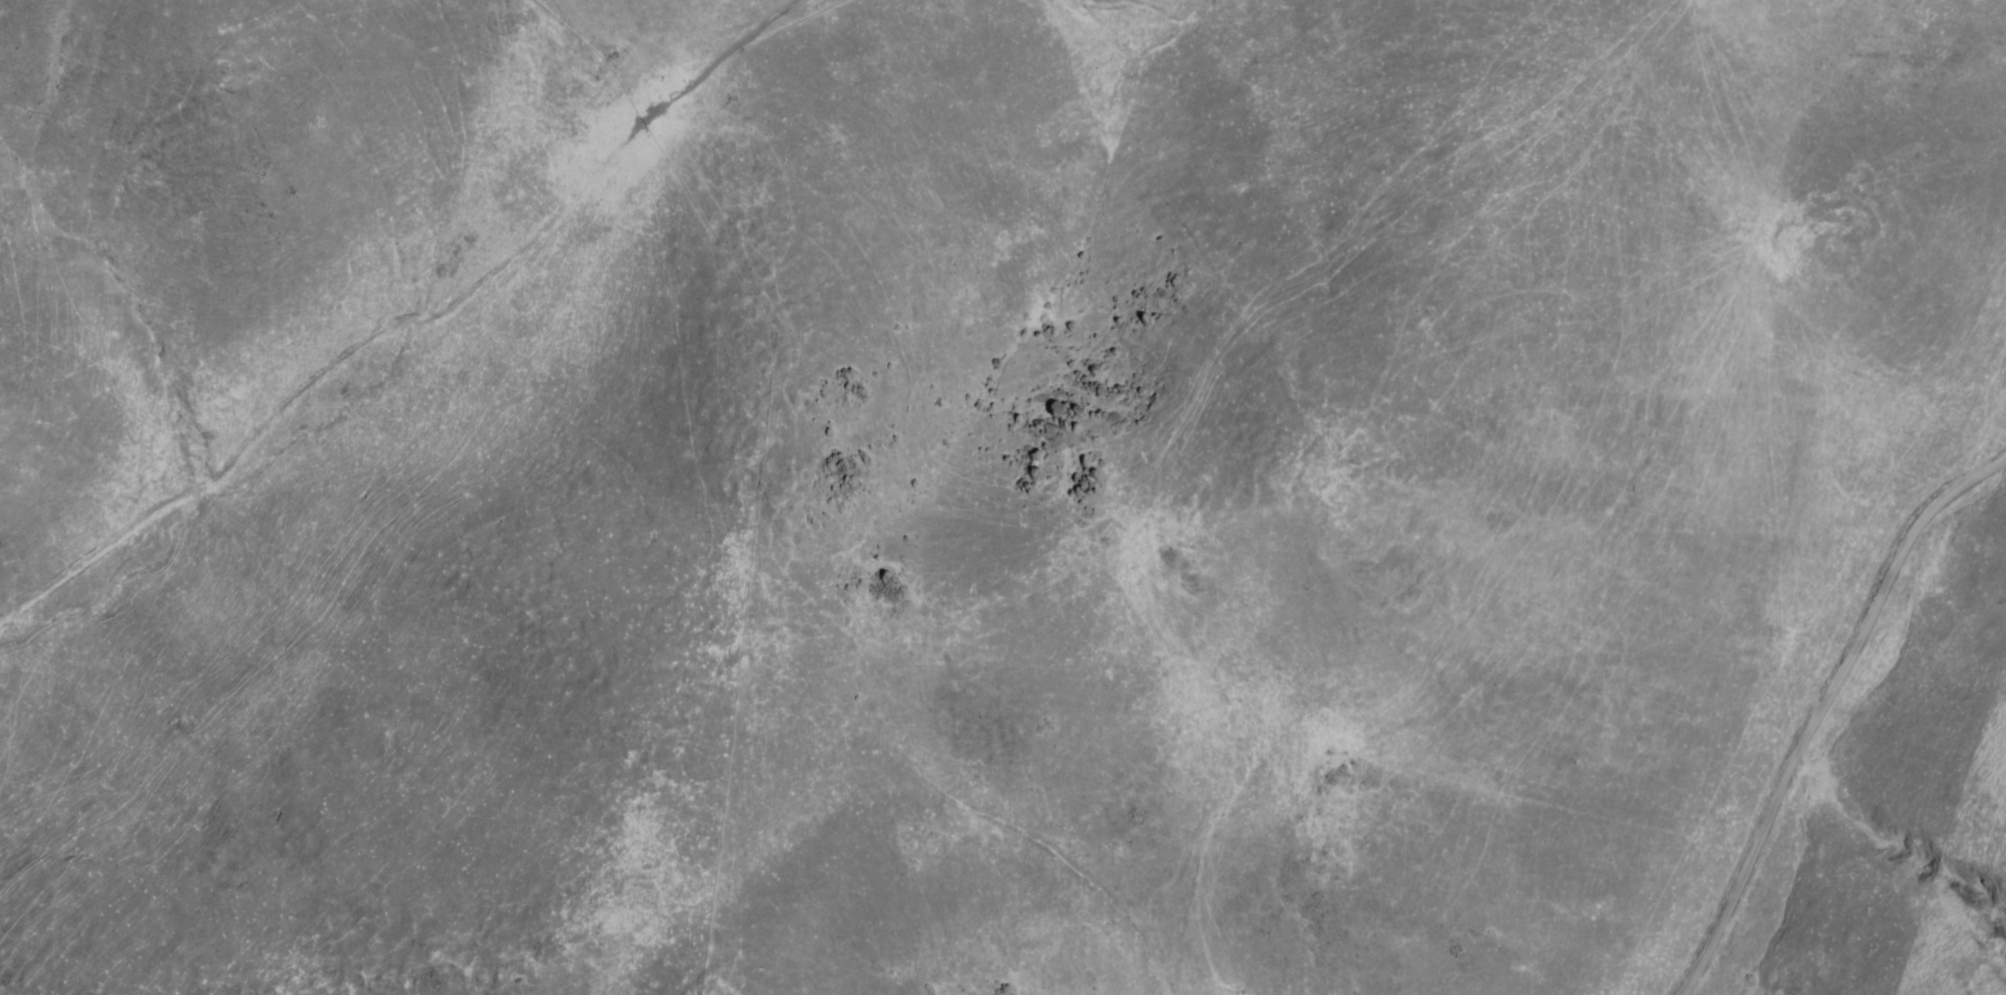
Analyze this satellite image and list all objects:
road: (1822, 707)

